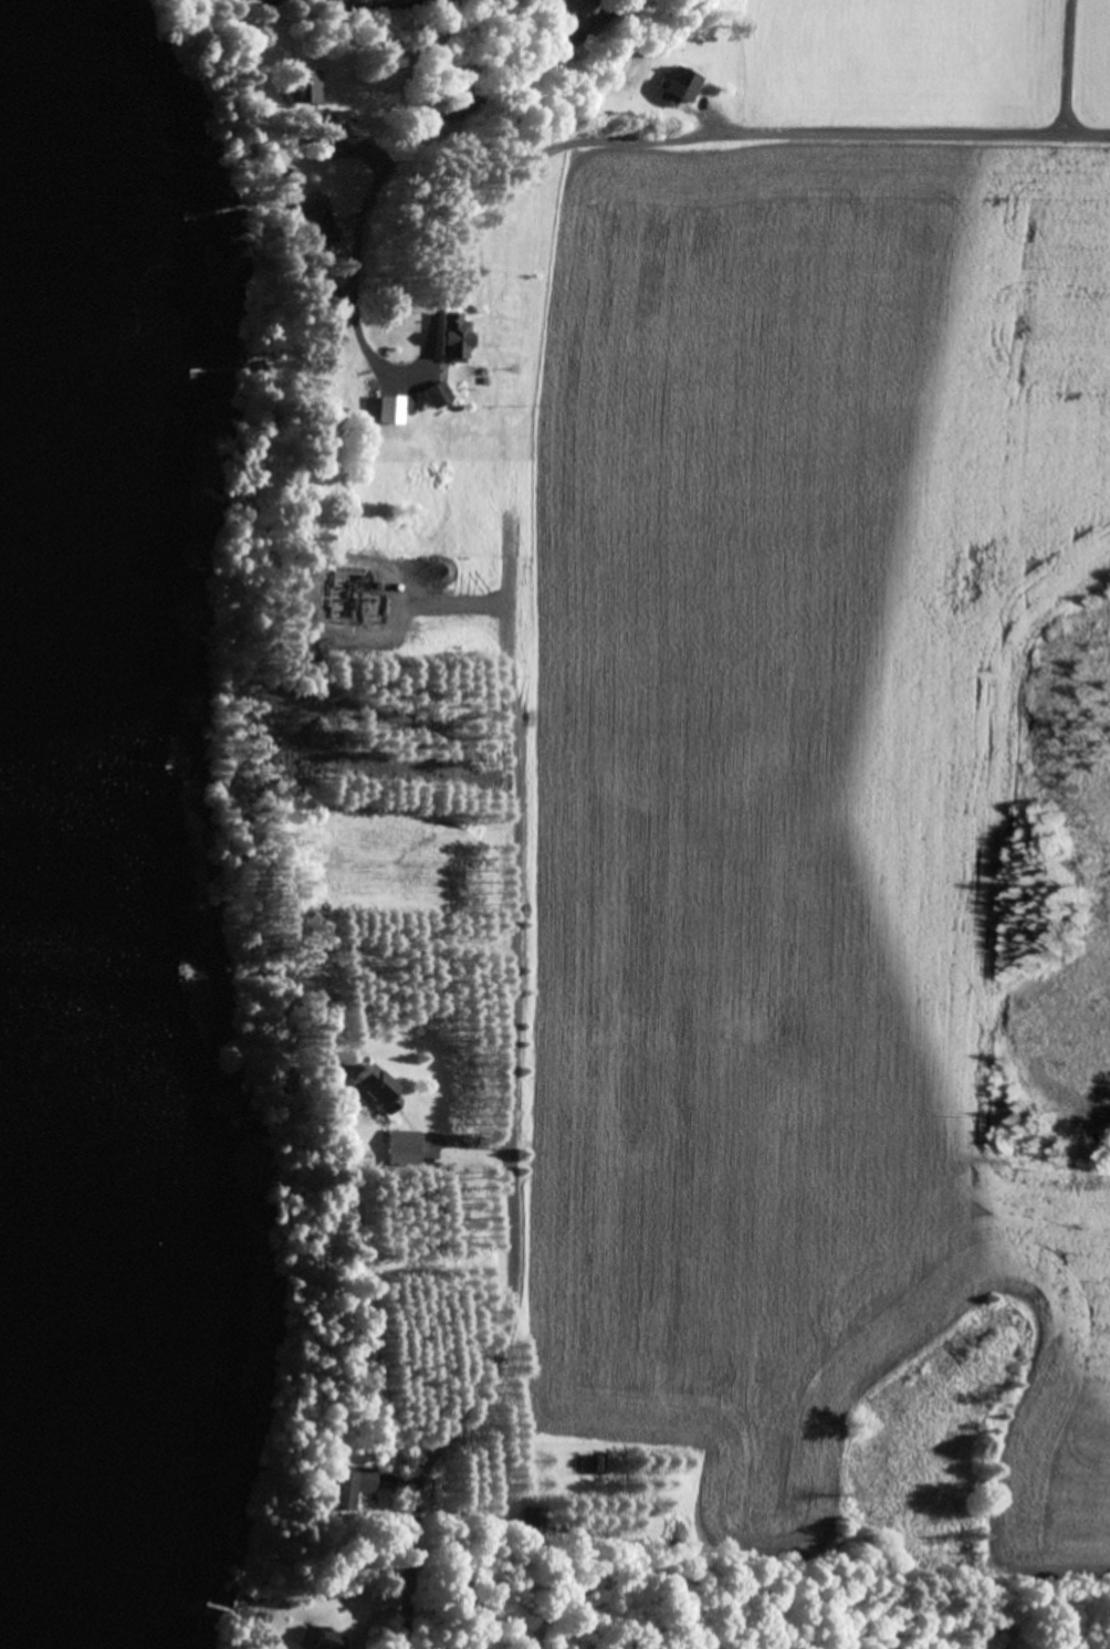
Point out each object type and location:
building: (572, 8)
road: (1067, 67)
building: (676, 86)
building: (305, 87)
road: (714, 133)
road: (423, 155)
building: (289, 178)
building: (318, 229)
building: (321, 286)
building: (451, 336)
building: (436, 393)
building: (390, 409)
building: (374, 1089)
building: (402, 1146)
road: (504, 1154)
building: (347, 1485)
building: (533, 1521)
building: (325, 1639)

